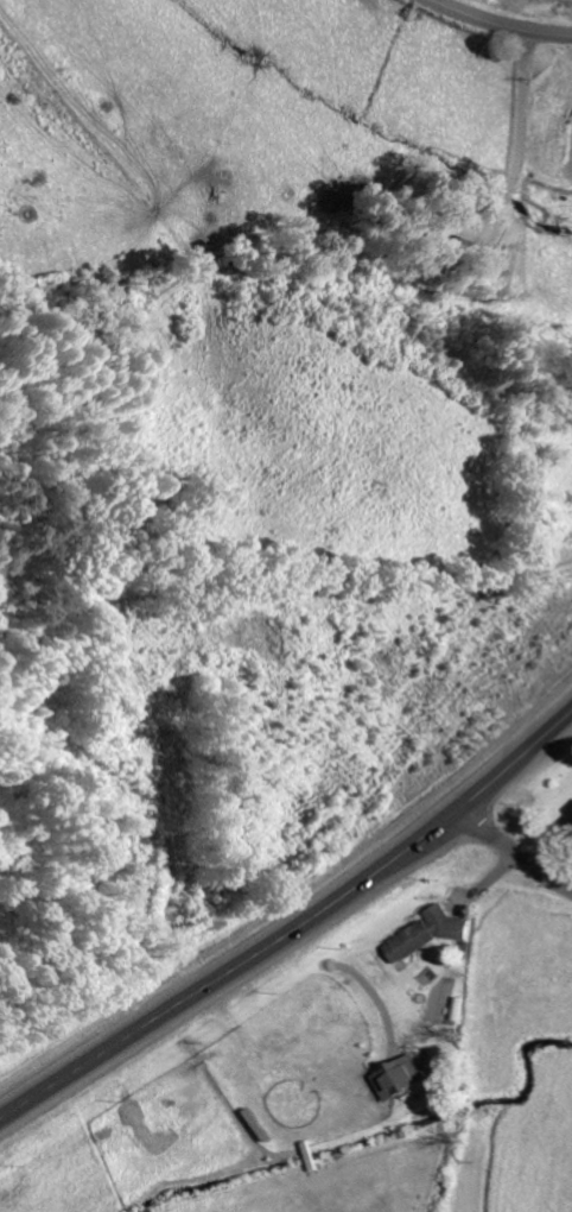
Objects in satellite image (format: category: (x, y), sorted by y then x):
road: (503, 23)
building: (457, 227)
building: (567, 819)
road: (490, 863)
road: (290, 899)
building: (426, 934)
building: (400, 1078)

